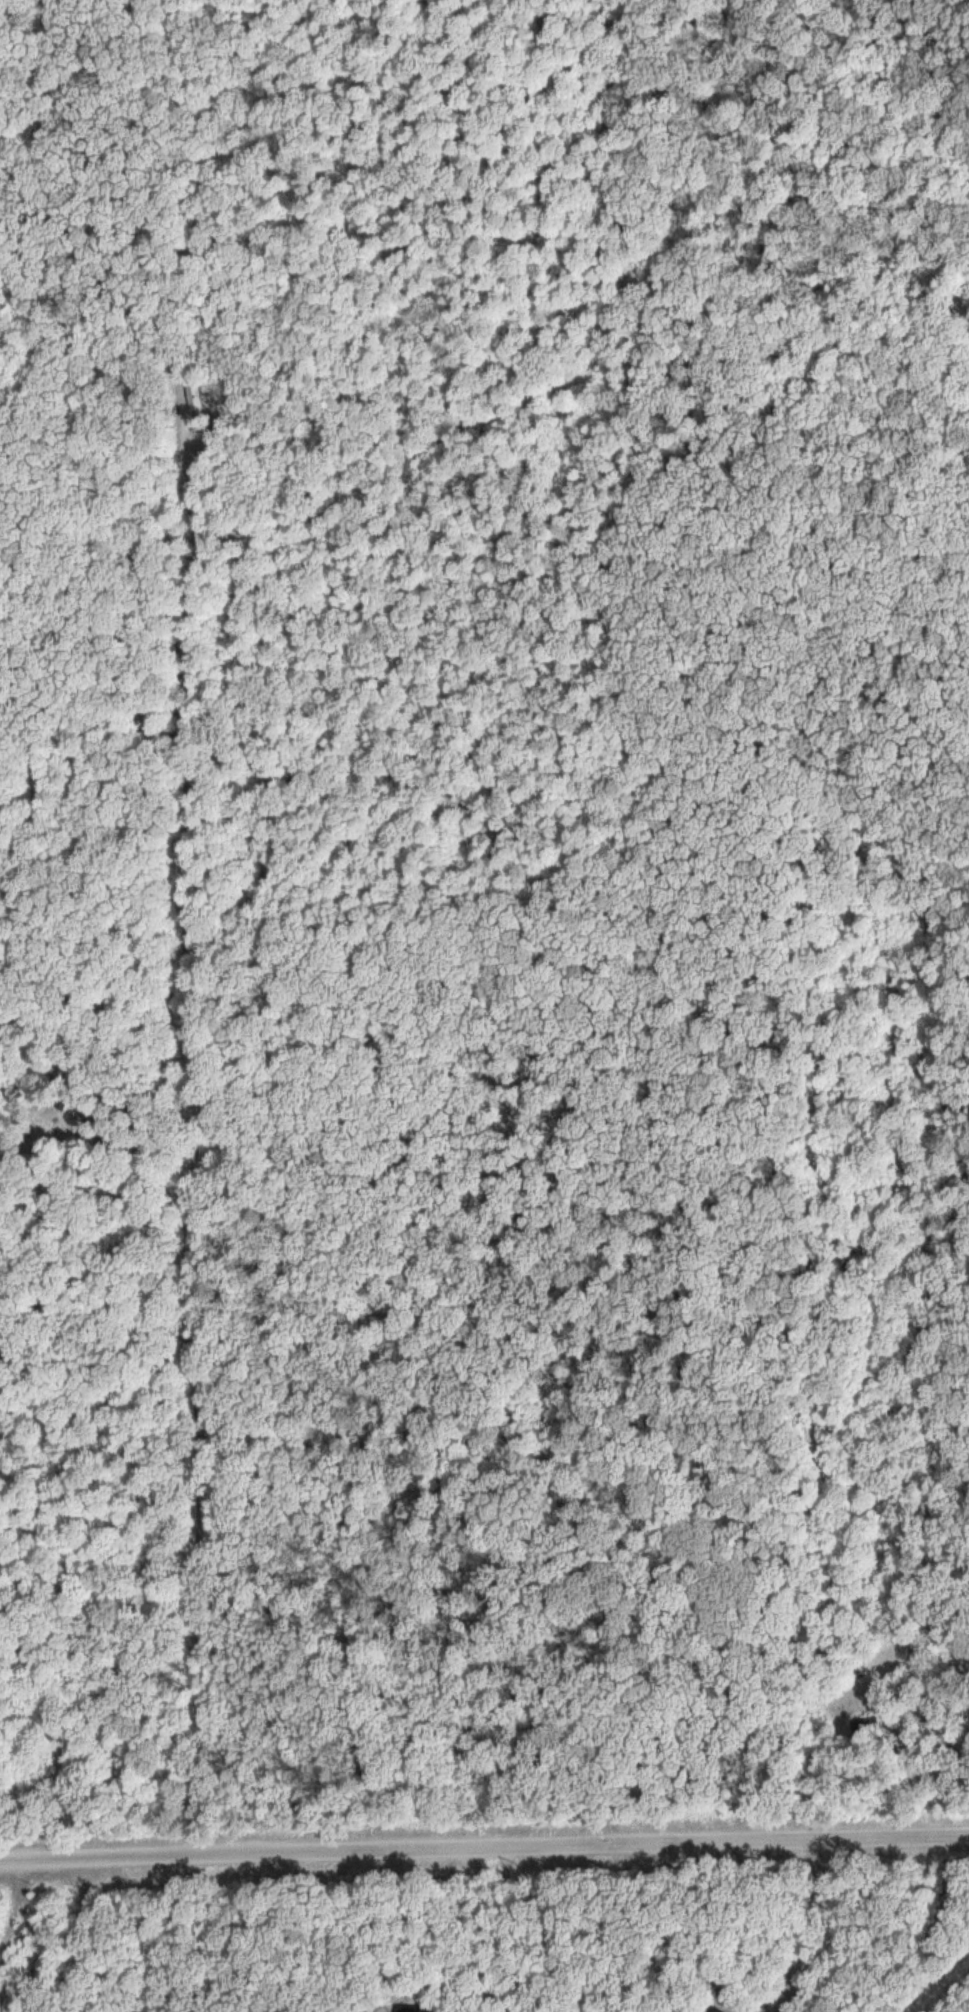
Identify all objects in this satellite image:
road: (484, 1843)
building: (722, 2010)

